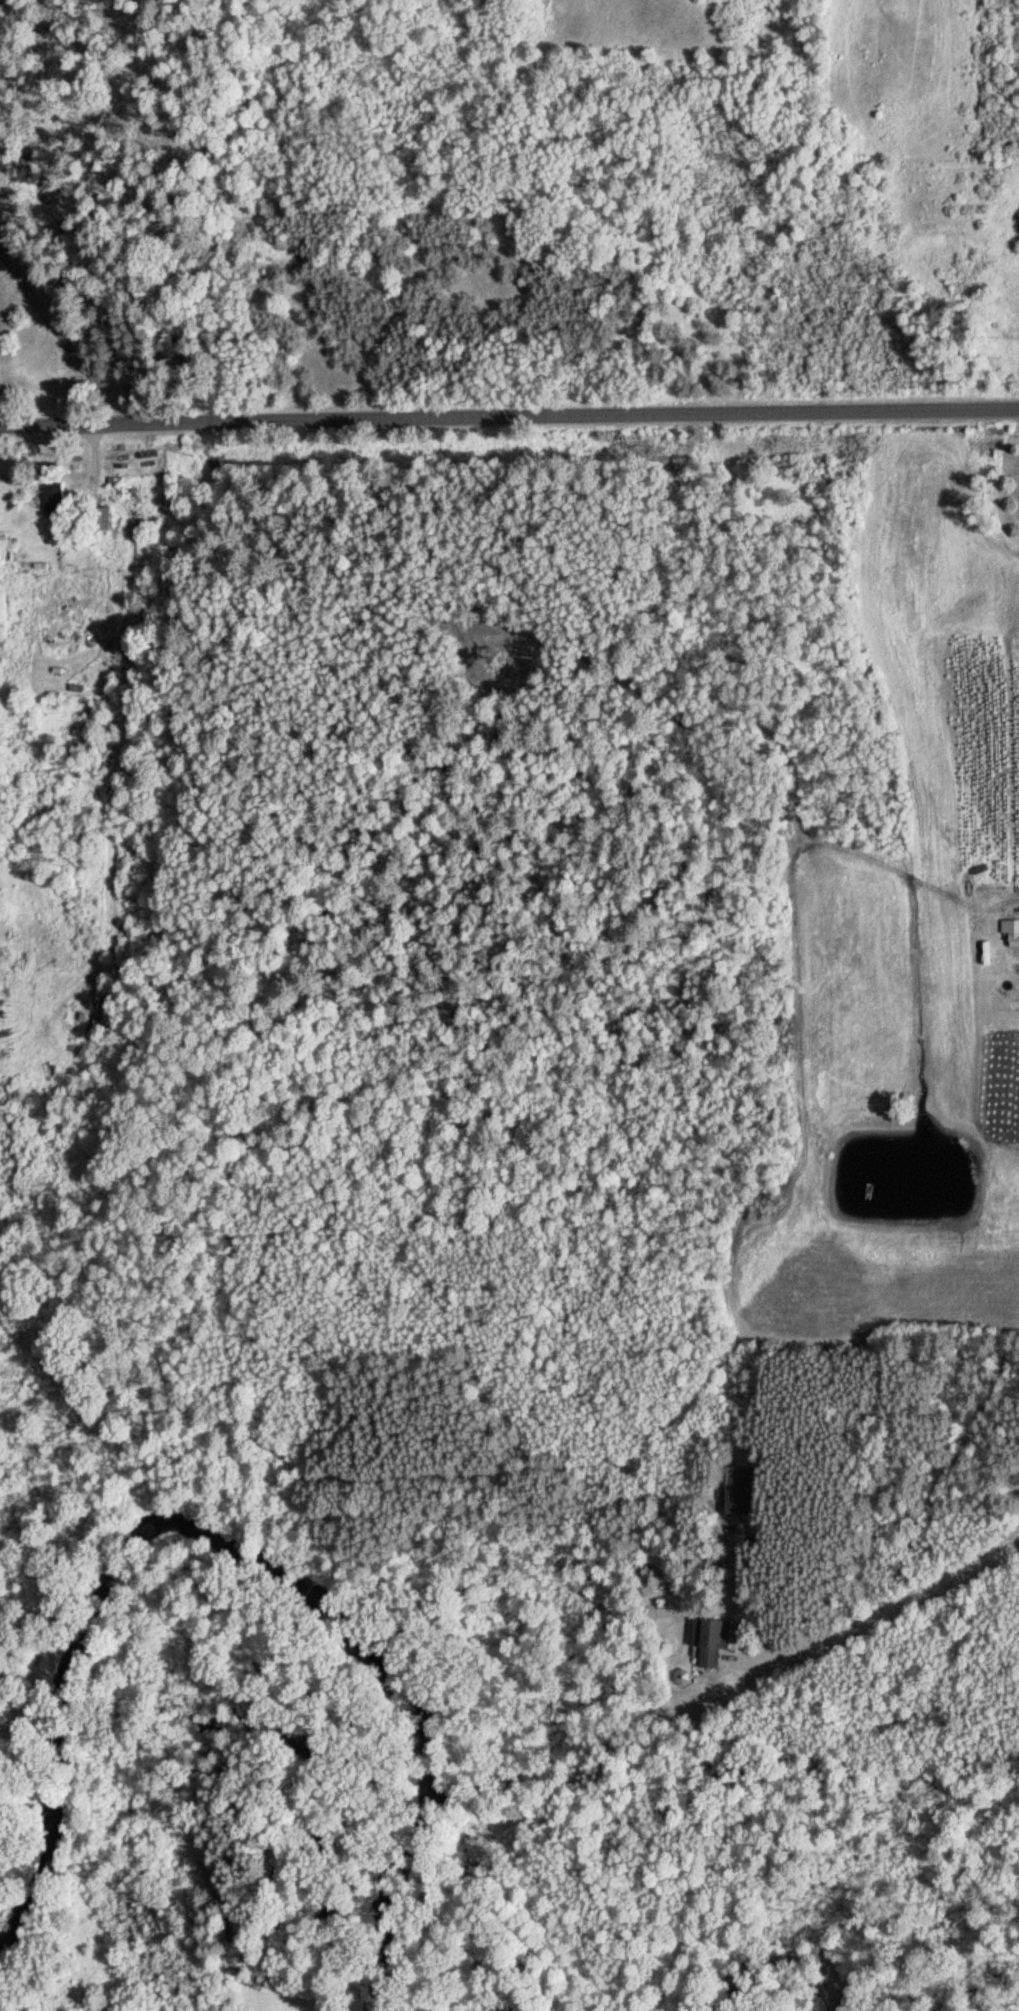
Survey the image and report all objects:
building: (96, 330)
road: (509, 420)
building: (52, 497)
building: (98, 518)
building: (1010, 936)
building: (99, 1016)
building: (739, 1491)
river: (243, 1549)
road: (750, 1592)
road: (876, 1612)
building: (708, 1641)

